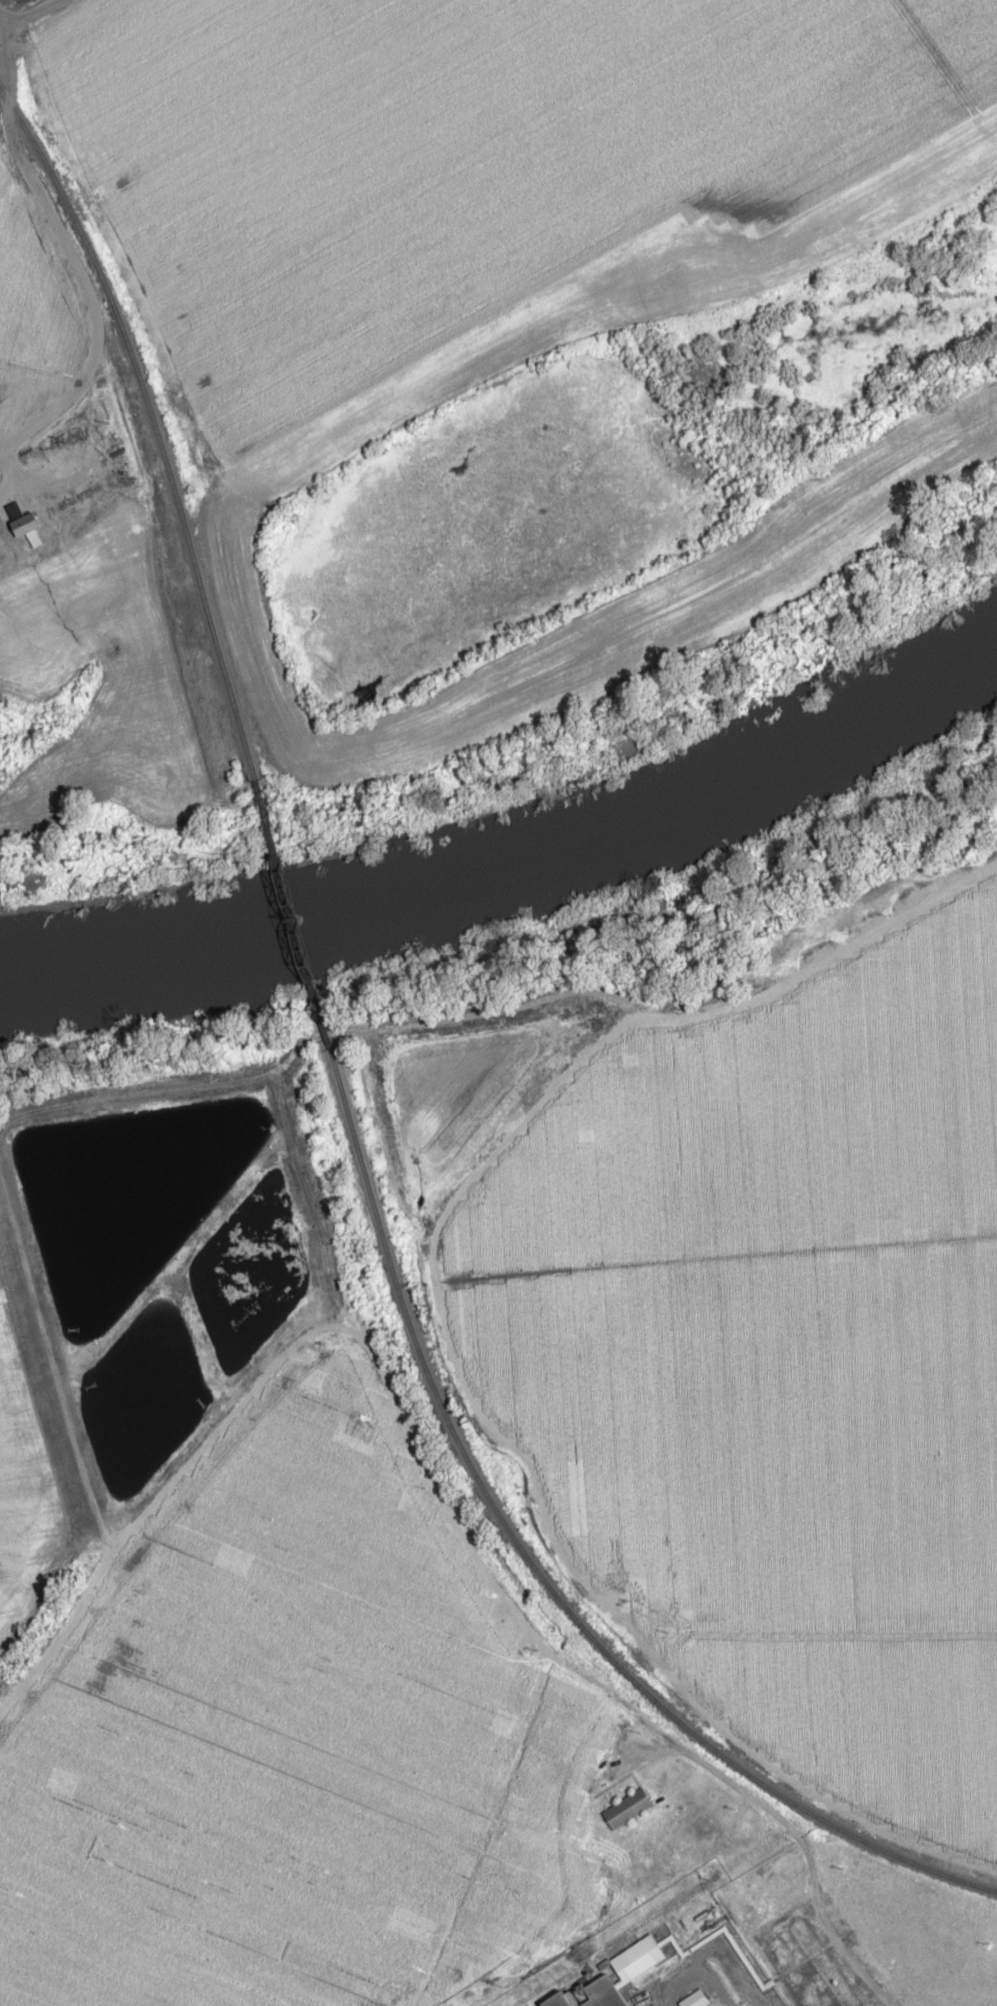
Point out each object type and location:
road: (31, 14)
road: (2, 23)
road: (66, 252)
road: (507, 306)
railway: (153, 426)
building: (18, 525)
river: (524, 887)
railway: (288, 914)
road: (428, 1297)
railway: (539, 1570)
building: (625, 1808)
road: (824, 1907)
building: (609, 1978)
building: (694, 1999)

